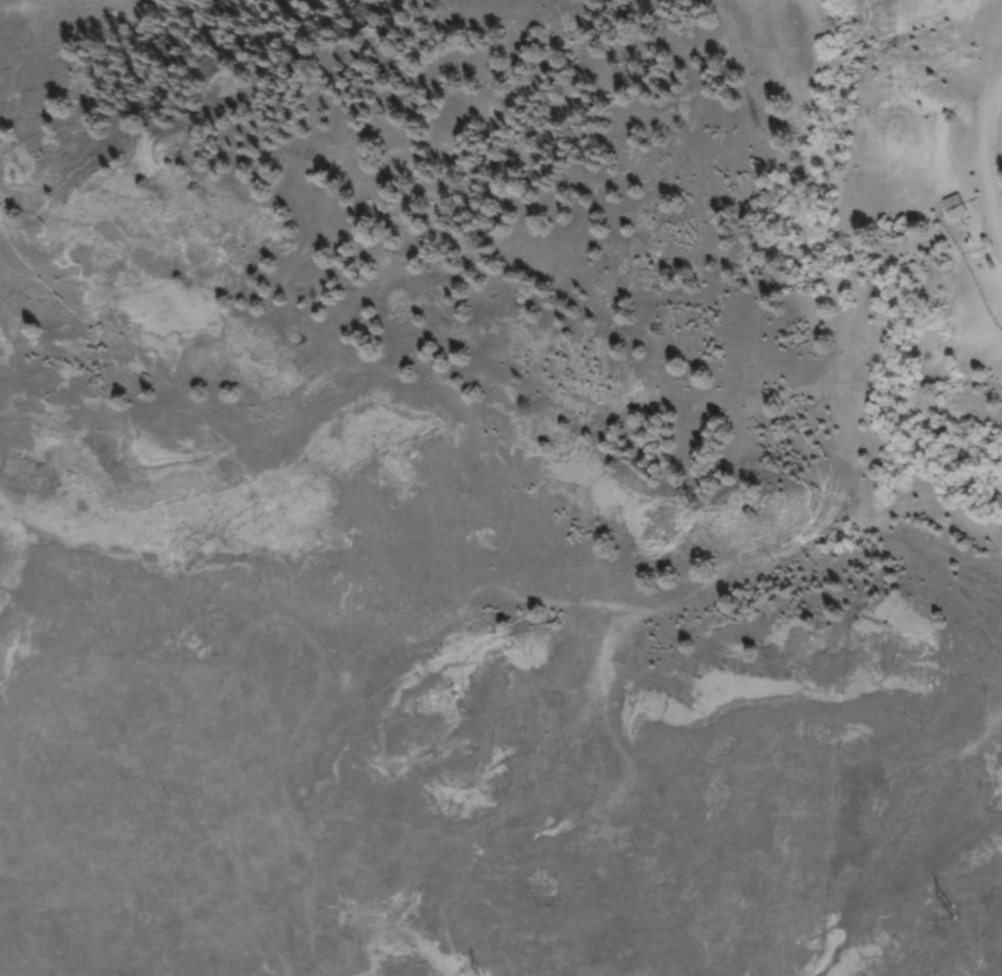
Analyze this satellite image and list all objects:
power tower: (952, 913)

